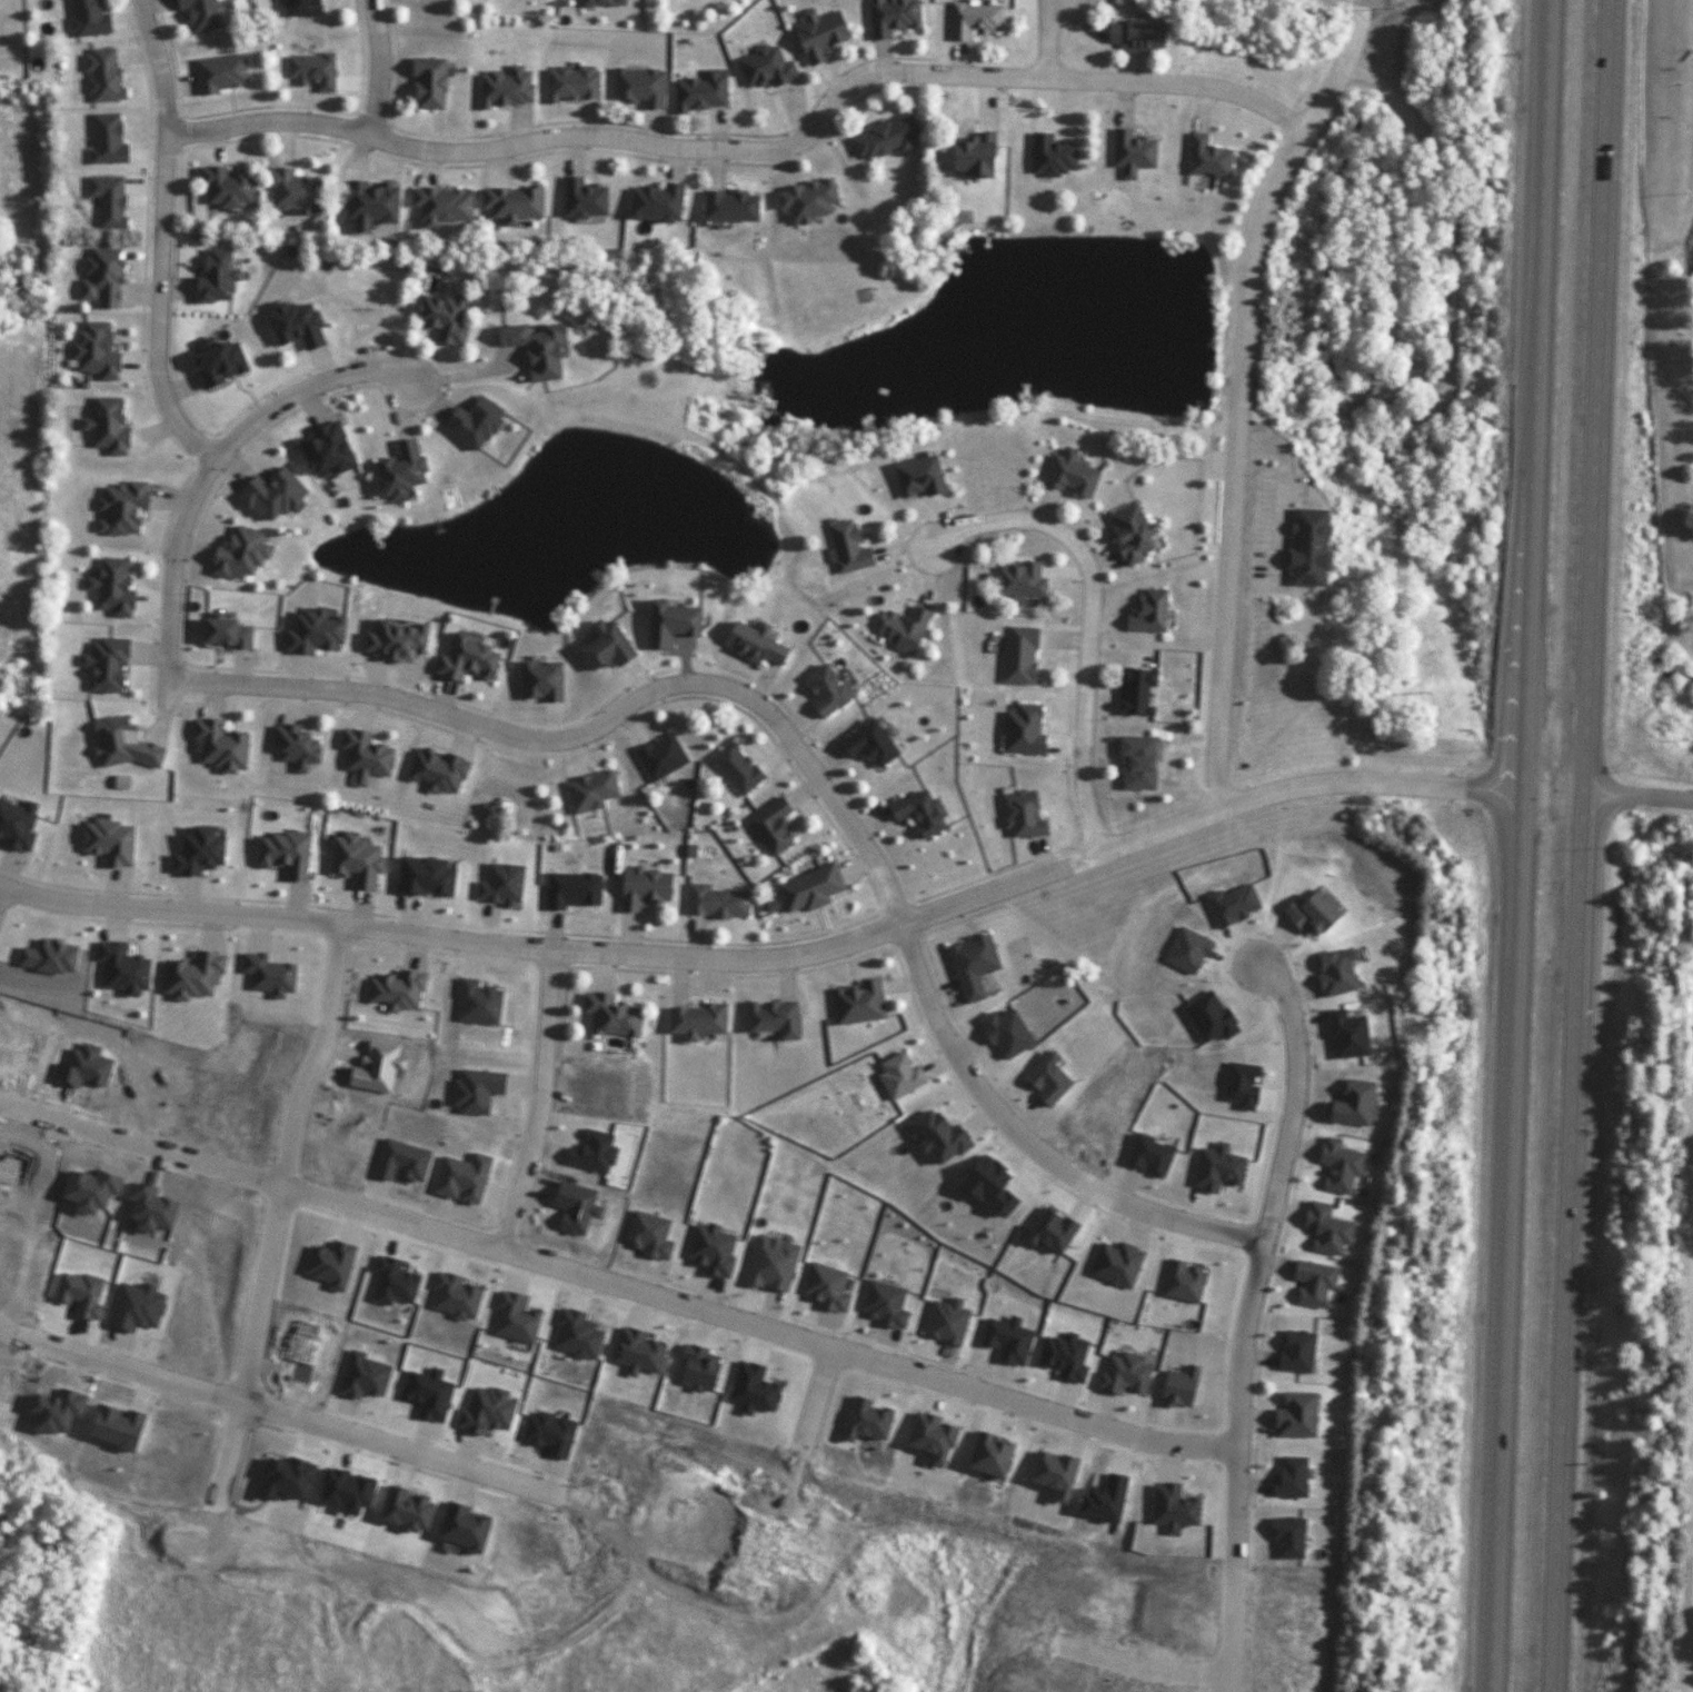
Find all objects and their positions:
building: (600, 1)
building: (298, 8)
building: (197, 13)
building: (888, 16)
building: (84, 18)
building: (970, 19)
building: (816, 34)
building: (1133, 34)
building: (763, 67)
building: (309, 70)
road: (385, 71)
building: (218, 72)
building: (100, 74)
building: (568, 82)
building: (422, 83)
building: (637, 86)
building: (502, 87)
building: (699, 91)
building: (103, 138)
building: (880, 138)
road: (751, 153)
building: (1129, 153)
building: (968, 155)
building: (1049, 156)
building: (1205, 158)
building: (219, 187)
building: (289, 190)
building: (579, 198)
building: (104, 200)
building: (803, 200)
building: (362, 202)
building: (651, 202)
building: (508, 203)
building: (438, 205)
building: (726, 206)
road: (160, 238)
road: (1457, 249)
building: (438, 317)
building: (290, 325)
building: (529, 348)
building: (93, 349)
road: (1238, 390)
road: (1532, 395)
road: (1600, 397)
building: (102, 426)
building: (394, 469)
road: (207, 470)
building: (1067, 475)
building: (914, 478)
road: (1277, 489)
building: (118, 507)
building: (1126, 534)
building: (1303, 547)
building: (844, 548)
building: (1017, 579)
building: (109, 587)
building: (1146, 611)
building: (666, 623)
building: (898, 629)
road: (1095, 630)
building: (749, 644)
building: (601, 646)
building: (1016, 655)
building: (102, 665)
road: (12, 690)
building: (823, 690)
building: (1134, 693)
building: (1020, 729)
building: (864, 744)
building: (297, 745)
building: (658, 756)
building: (1133, 762)
road: (809, 763)
building: (733, 768)
building: (588, 790)
road: (1640, 797)
building: (922, 809)
building: (1024, 813)
building: (774, 825)
building: (646, 885)
building: (810, 887)
building: (575, 888)
road: (4, 899)
building: (718, 900)
road: (770, 961)
building: (975, 964)
building: (859, 1002)
building: (613, 1014)
building: (776, 1016)
building: (699, 1018)
road: (539, 1099)
road: (276, 1213)
road: (1689, 1217)
road: (1502, 1241)
road: (1572, 1243)
road: (614, 1282)
road: (1249, 1324)
road: (815, 1399)
road: (277, 1410)
road: (1143, 1663)
road: (1692, 1672)
building: (878, 1684)

